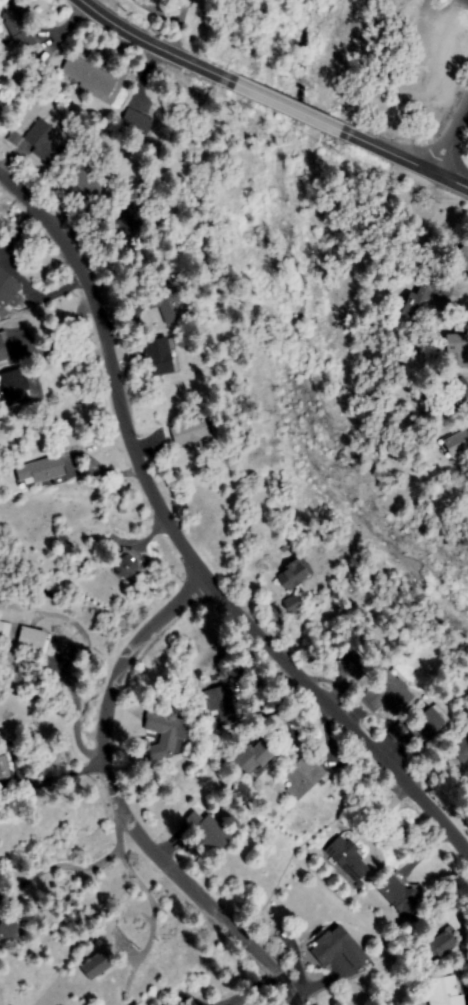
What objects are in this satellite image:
building: (177, 0)
road: (154, 8)
building: (18, 24)
road: (155, 44)
building: (91, 78)
building: (0, 82)
road: (290, 107)
building: (137, 122)
road: (451, 136)
building: (44, 141)
road: (408, 158)
building: (85, 180)
building: (129, 221)
building: (462, 257)
building: (7, 294)
building: (424, 296)
building: (167, 300)
building: (5, 347)
building: (456, 351)
building: (158, 359)
building: (16, 386)
building: (456, 393)
building: (192, 434)
building: (456, 443)
building: (43, 472)
road: (183, 541)
building: (127, 566)
building: (295, 574)
building: (292, 604)
building: (35, 641)
building: (353, 666)
building: (387, 694)
building: (223, 706)
building: (428, 723)
building: (398, 731)
building: (163, 737)
building: (462, 748)
building: (254, 757)
building: (3, 769)
building: (303, 777)
road: (117, 798)
building: (211, 830)
building: (349, 858)
building: (401, 893)
building: (12, 928)
building: (442, 943)
building: (337, 947)
building: (98, 965)
building: (446, 992)

